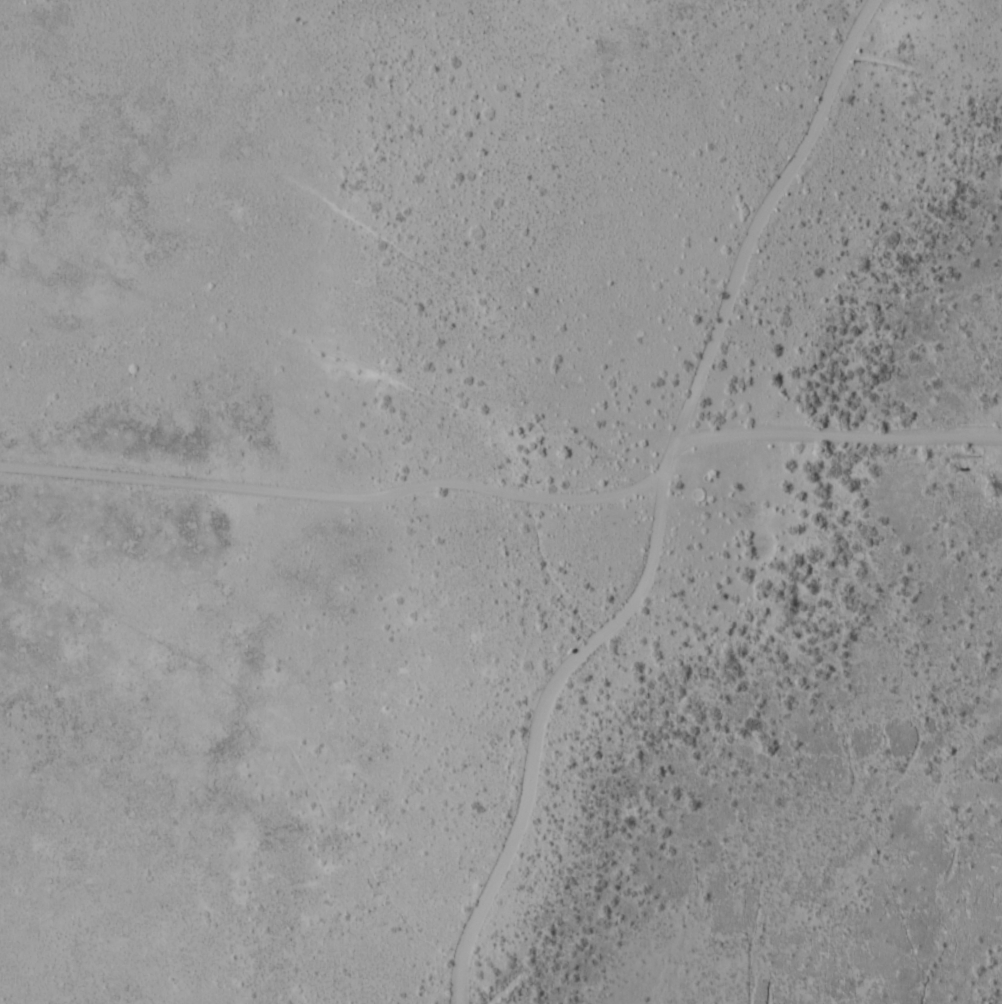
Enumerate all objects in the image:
road: (835, 434)
road: (335, 495)
road: (659, 510)

